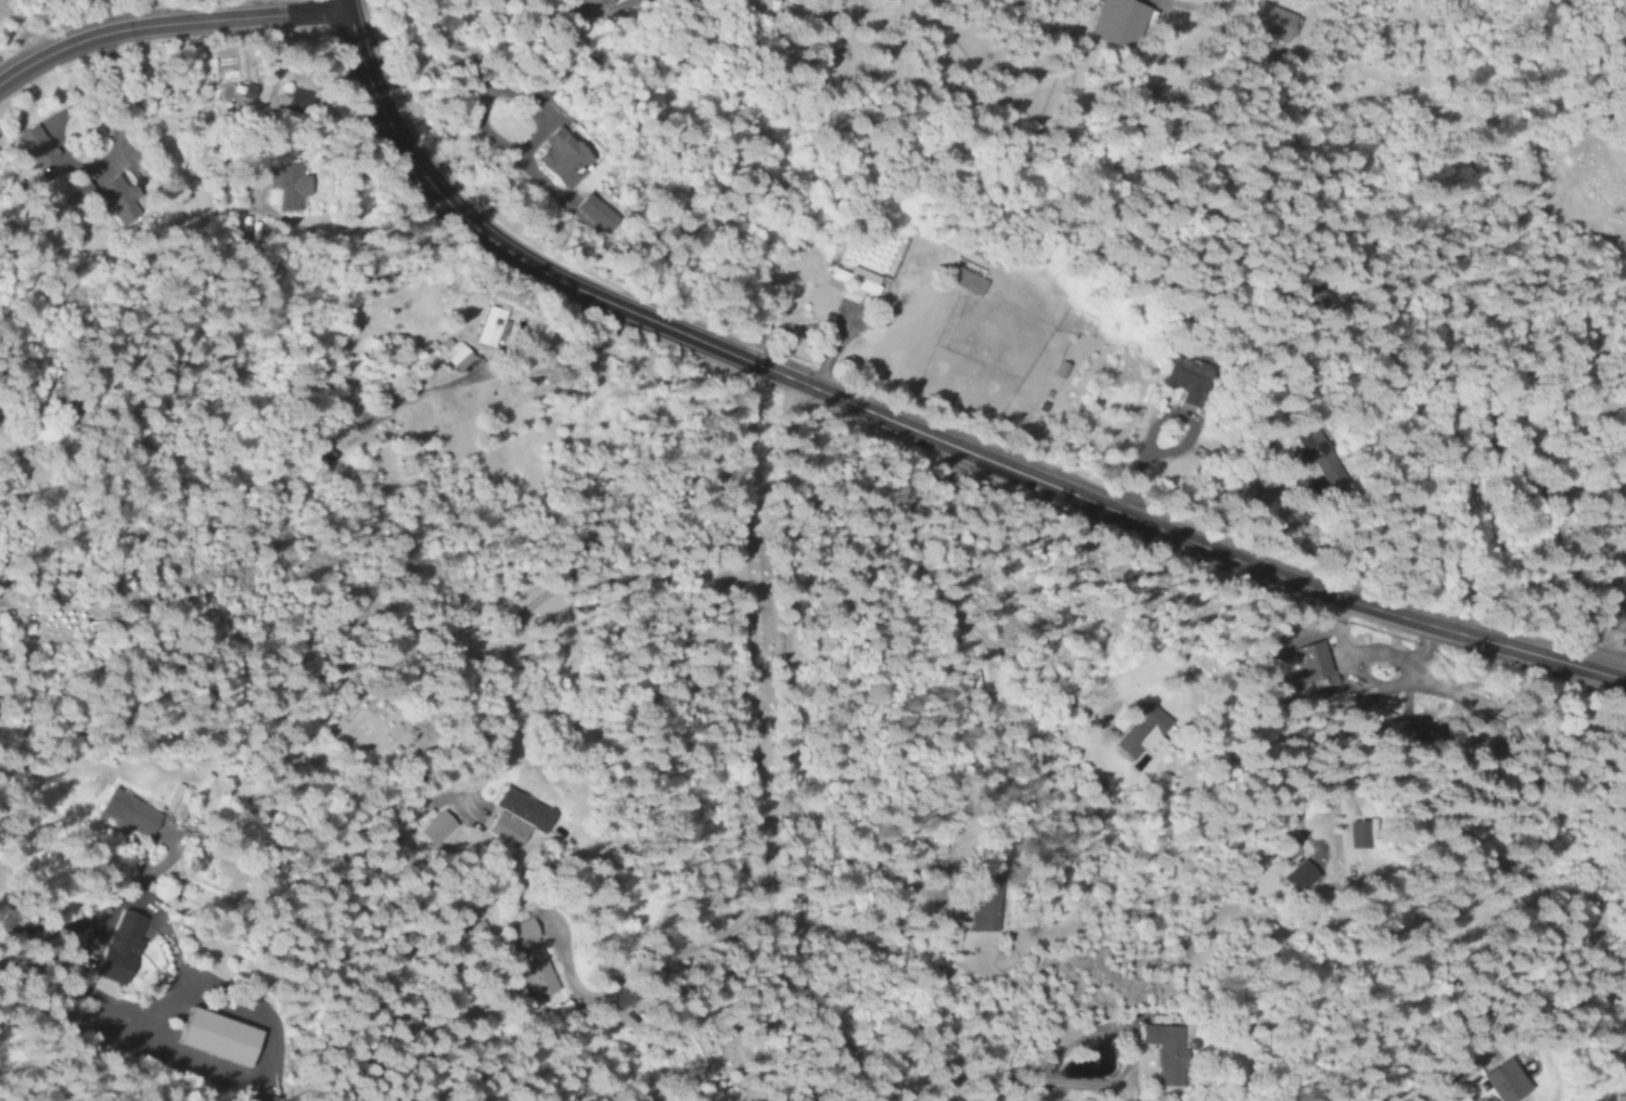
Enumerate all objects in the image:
building: (591, 1)
building: (1267, 23)
road: (166, 24)
building: (1110, 25)
building: (233, 95)
building: (31, 148)
building: (558, 161)
building: (283, 188)
building: (111, 202)
building: (591, 218)
building: (853, 282)
building: (960, 282)
building: (485, 329)
building: (454, 359)
building: (1180, 379)
road: (911, 433)
building: (1309, 445)
road: (536, 602)
road: (955, 612)
building: (1308, 665)
building: (1134, 733)
road: (745, 769)
building: (125, 816)
building: (515, 819)
building: (433, 831)
building: (1353, 836)
building: (1294, 881)
building: (978, 908)
building: (115, 949)
building: (525, 961)
building: (215, 1038)
building: (1160, 1054)
building: (1498, 1083)

